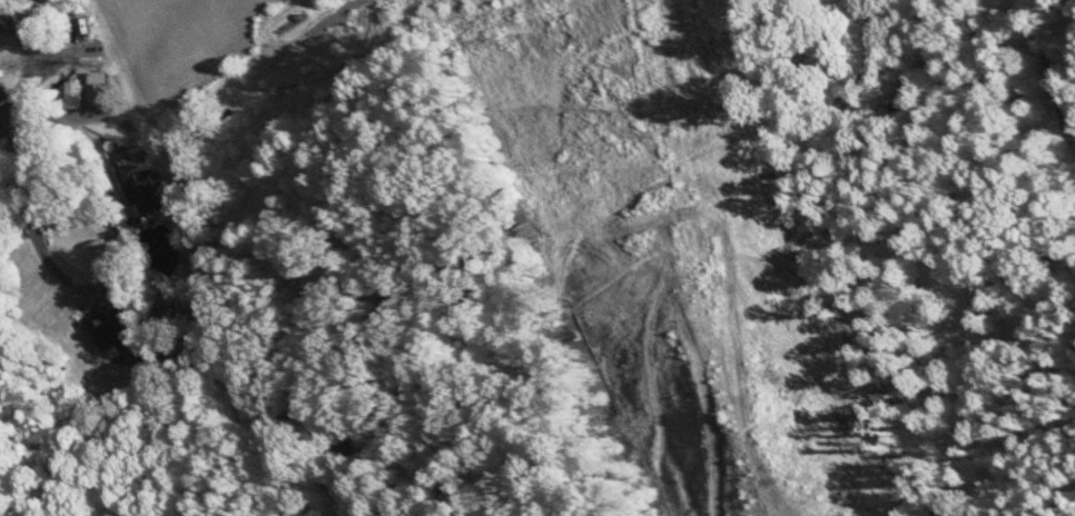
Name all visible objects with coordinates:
road: (27, 62)
road: (88, 113)
building: (150, 196)
road: (30, 220)
building: (107, 329)

